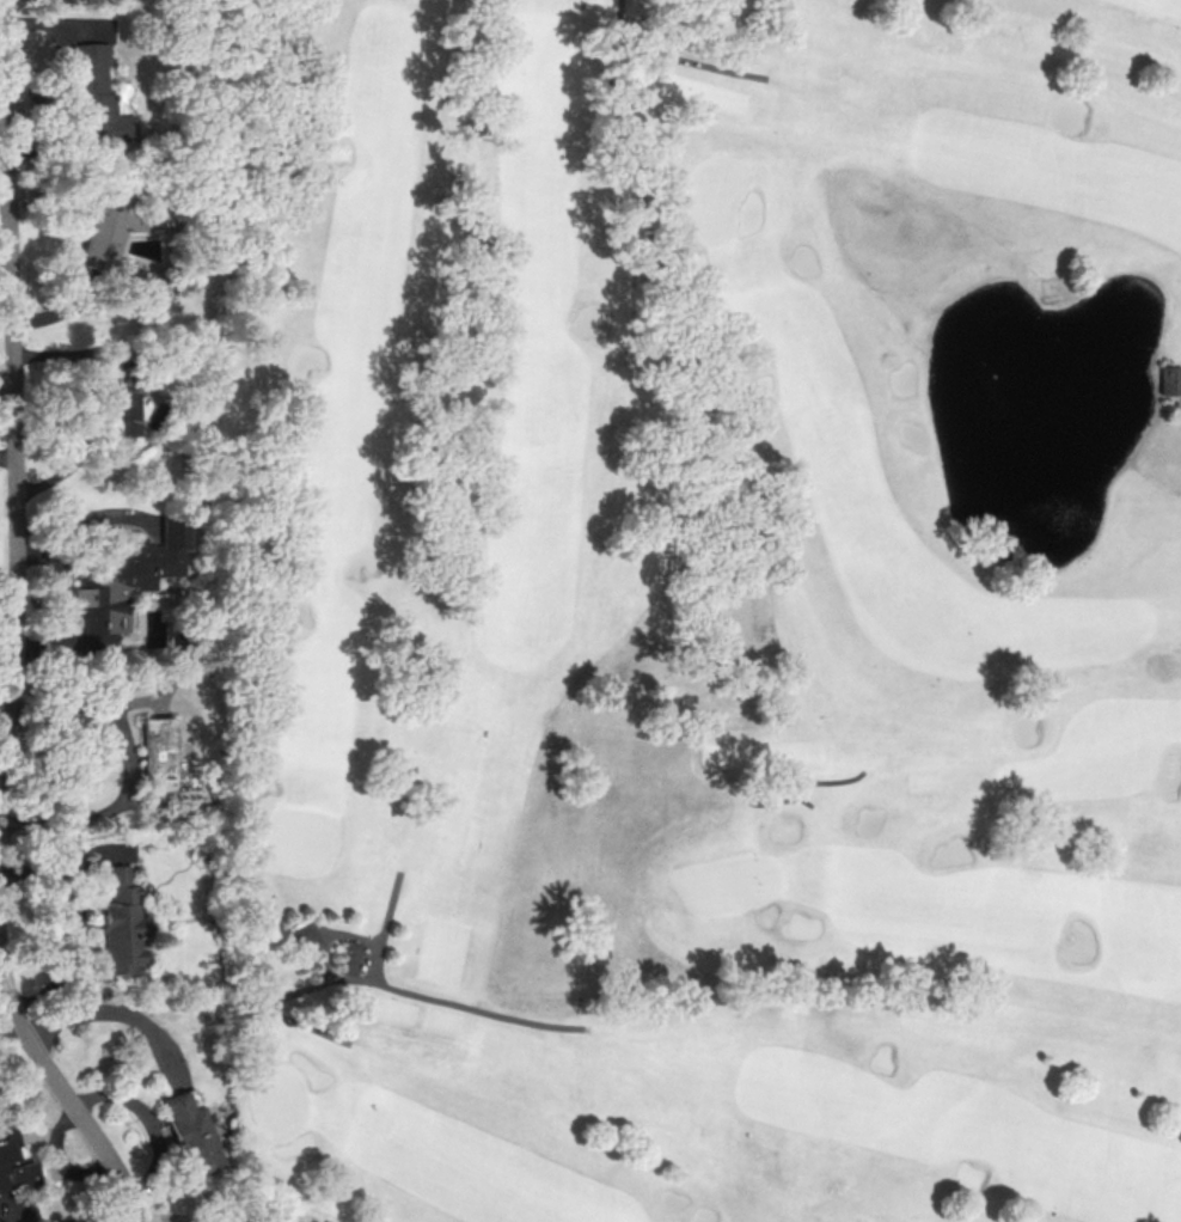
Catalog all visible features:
road: (690, 61)
road: (60, 79)
building: (93, 98)
road: (631, 154)
building: (99, 232)
building: (1170, 380)
road: (92, 405)
road: (10, 408)
building: (121, 409)
building: (127, 579)
road: (7, 604)
park: (700, 606)
building: (161, 757)
road: (130, 764)
road: (761, 777)
building: (121, 922)
road: (385, 927)
road: (345, 935)
building: (302, 936)
road: (324, 954)
building: (348, 957)
road: (381, 984)
road: (99, 1013)
road: (62, 1099)
road: (149, 1120)
building: (191, 1131)
building: (12, 1155)
road: (171, 1218)

